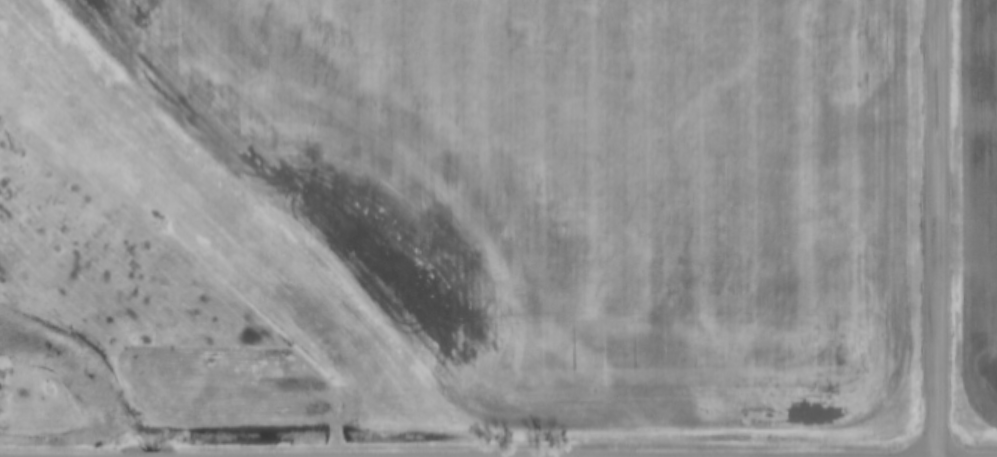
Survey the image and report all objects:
road: (937, 228)
road: (98, 456)

